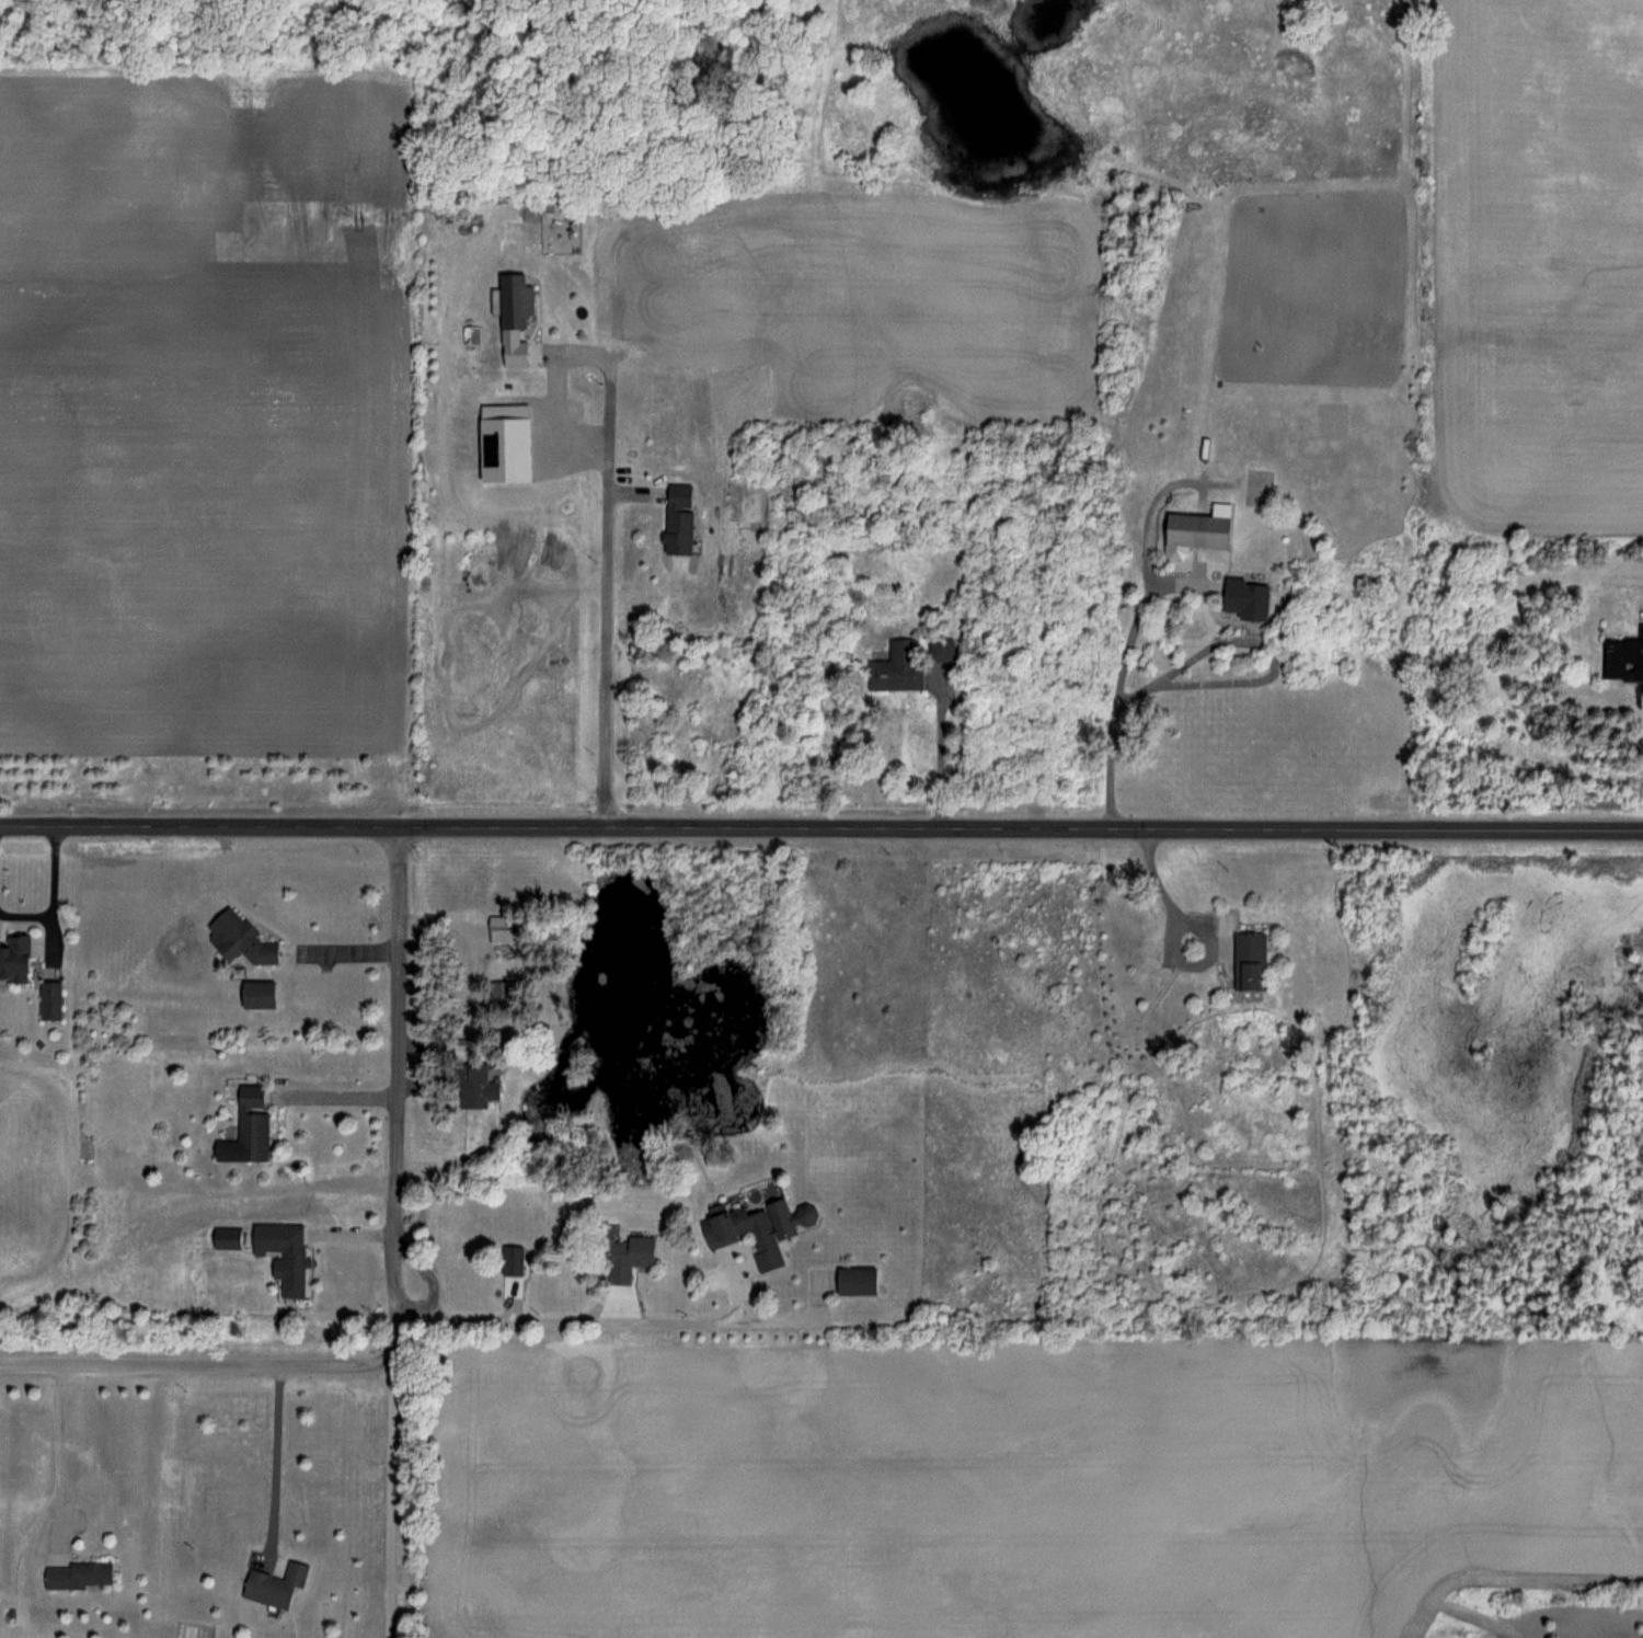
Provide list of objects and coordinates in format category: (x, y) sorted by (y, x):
building: (512, 299)
building: (513, 353)
building: (1194, 528)
building: (677, 532)
road: (609, 562)
building: (1240, 599)
building: (941, 650)
building: (1622, 658)
building: (897, 667)
road: (1266, 669)
road: (1121, 694)
road: (942, 756)
road: (821, 827)
road: (1151, 889)
road: (46, 891)
building: (497, 924)
building: (238, 938)
road: (341, 938)
building: (13, 958)
building: (1248, 962)
building: (254, 994)
building: (47, 1000)
road: (401, 1070)
building: (472, 1086)
road: (343, 1097)
building: (245, 1129)
building: (757, 1228)
building: (622, 1257)
building: (290, 1260)
building: (510, 1261)
building: (854, 1280)
road: (594, 1320)
road: (214, 1364)
road: (60, 1453)
road: (277, 1458)
road: (390, 1497)
building: (78, 1576)
building: (274, 1584)

